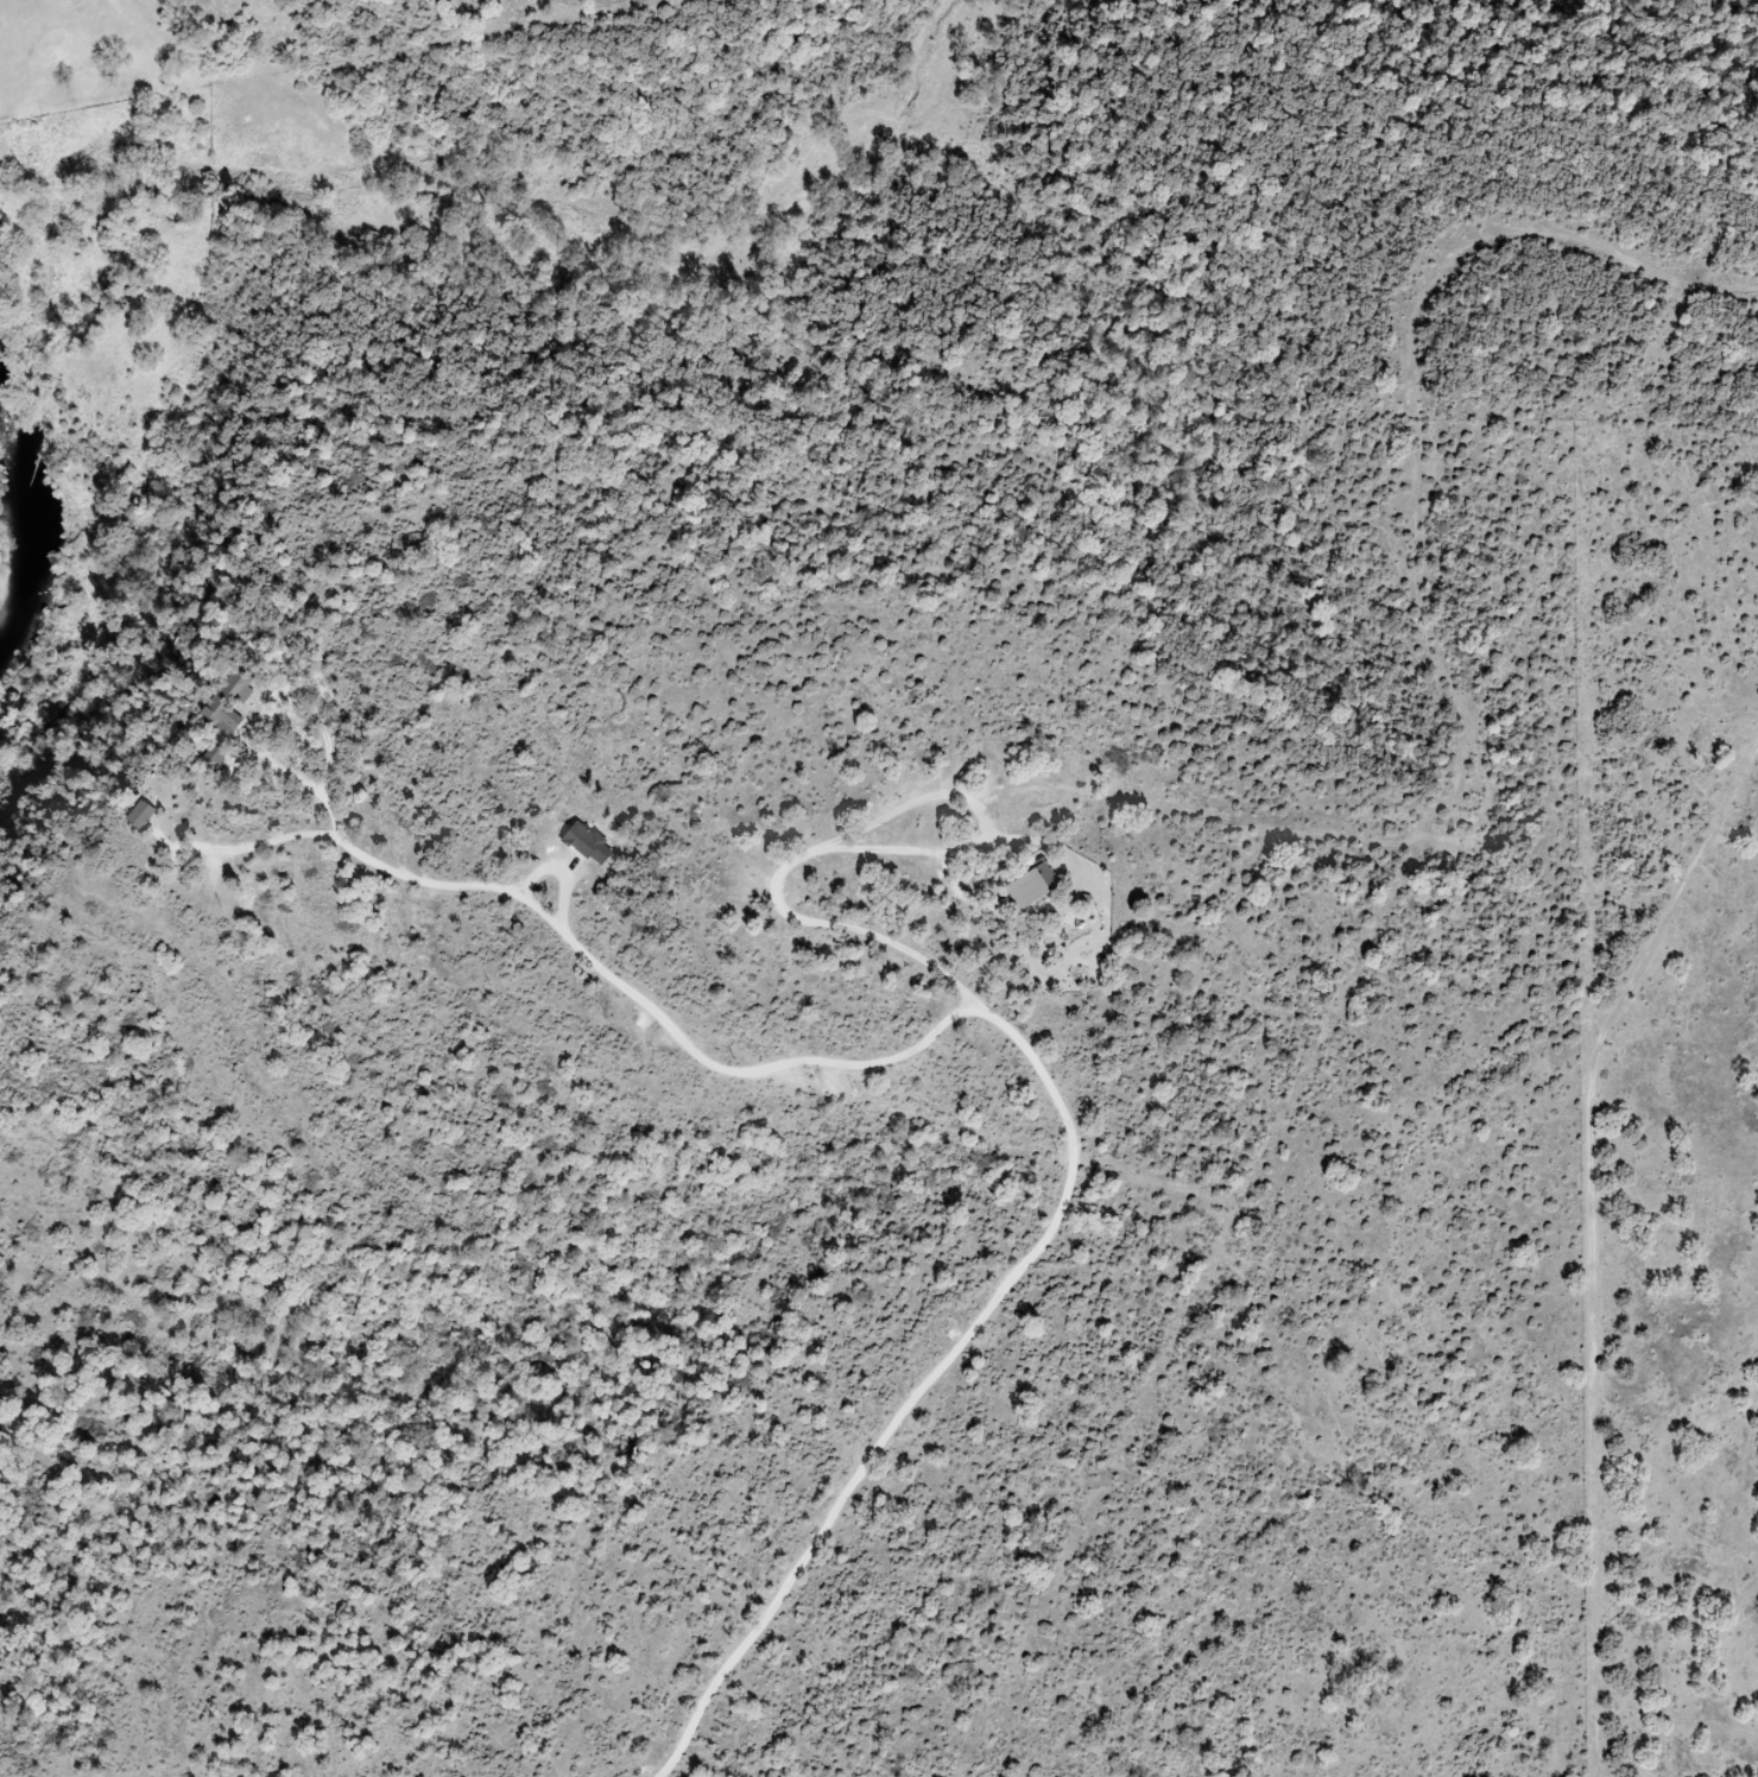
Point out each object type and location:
river: (33, 507)
building: (228, 701)
building: (139, 814)
building: (587, 842)
road: (257, 845)
building: (1031, 885)
road: (782, 909)
road: (1026, 1029)

